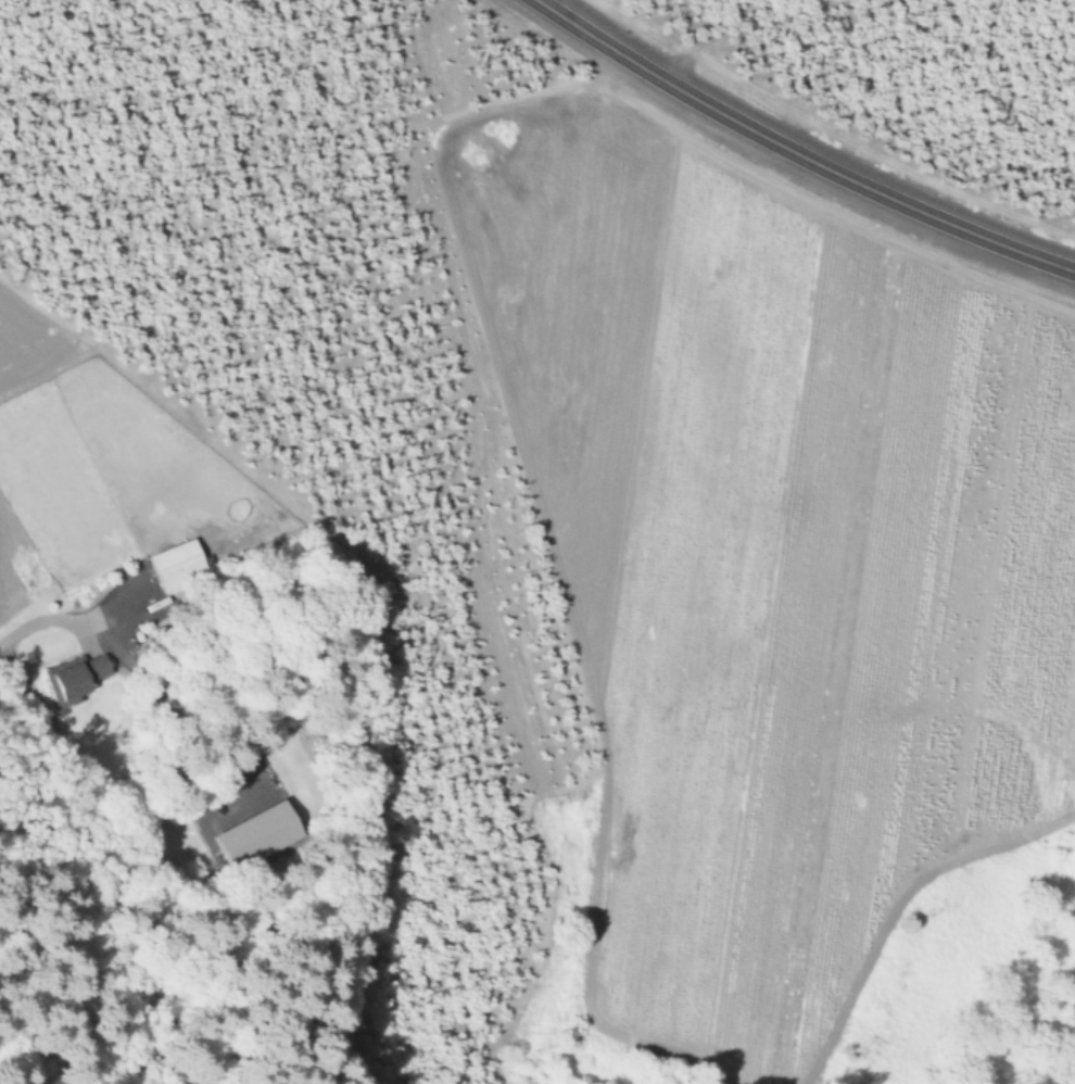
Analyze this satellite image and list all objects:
road: (796, 153)
building: (176, 566)
crop: (777, 575)
building: (76, 676)

